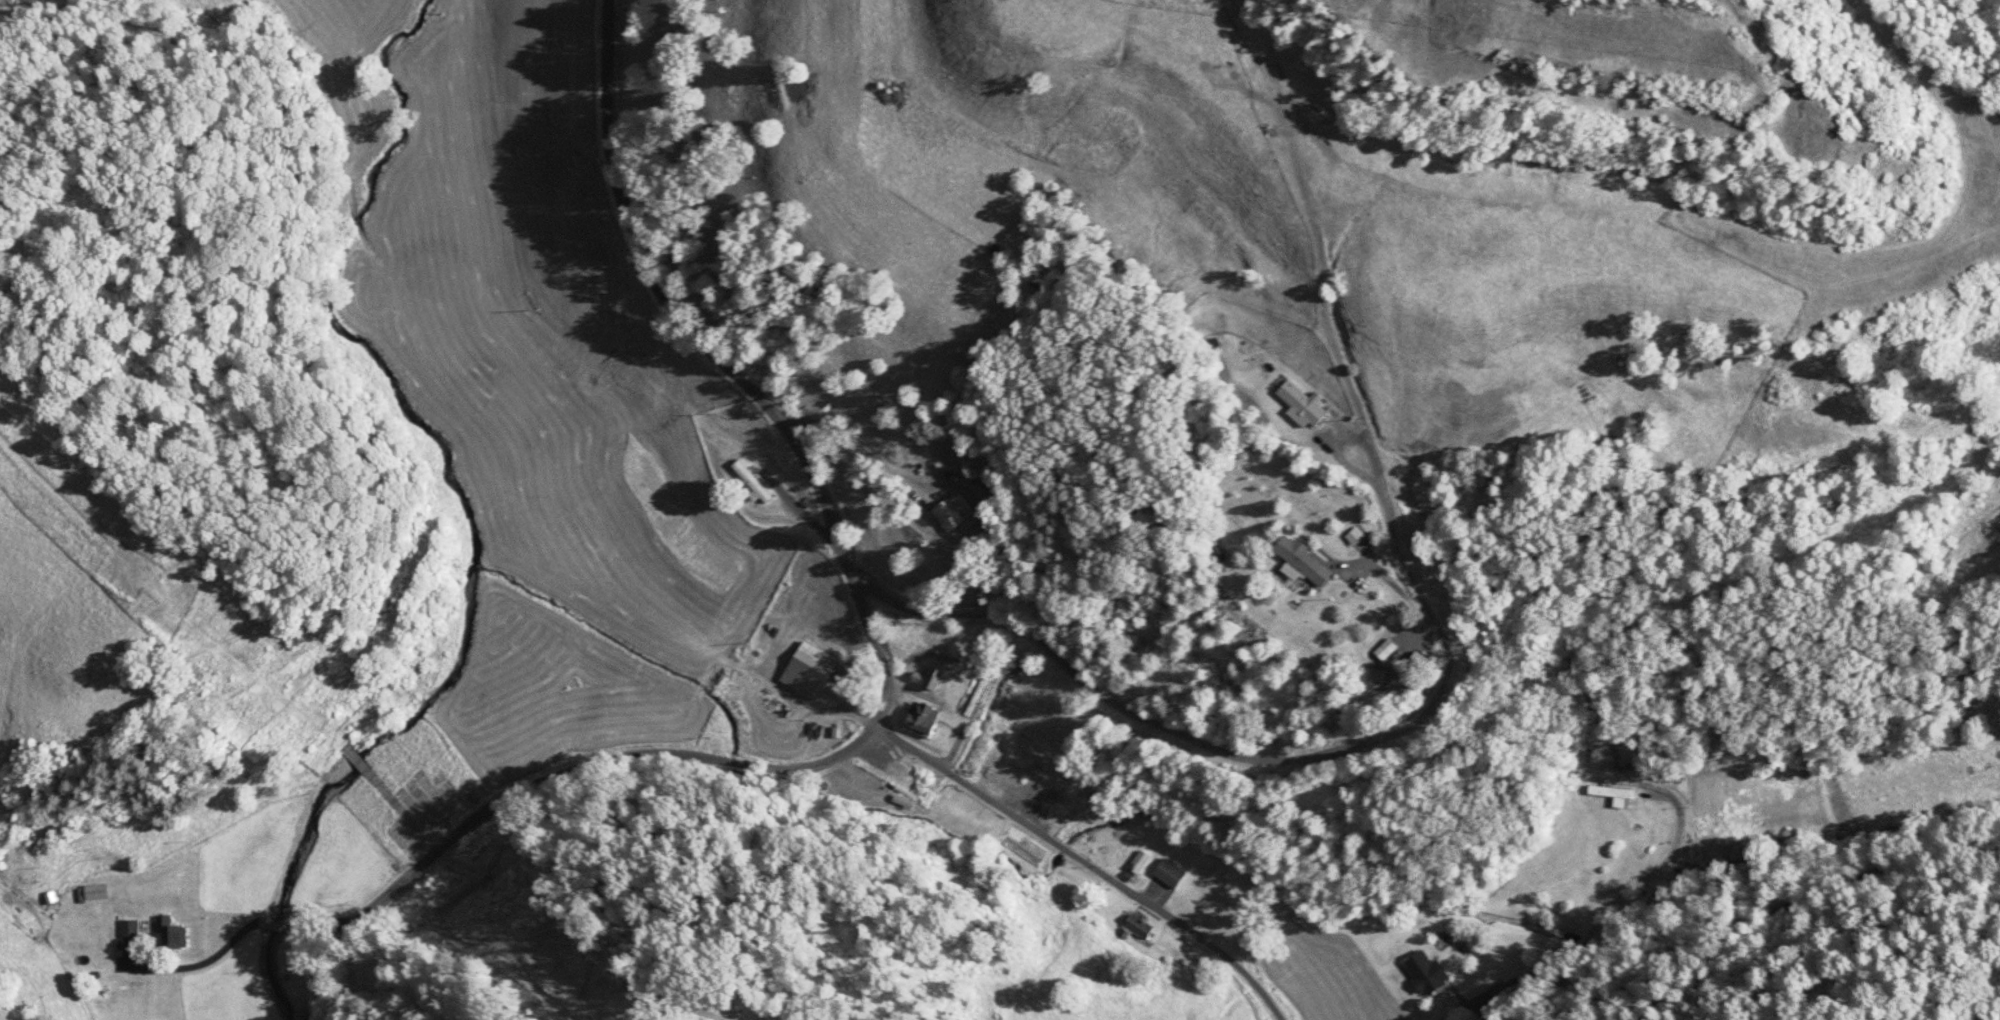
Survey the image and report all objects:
road: (727, 370)
building: (1301, 405)
building: (755, 485)
building: (955, 513)
building: (1302, 562)
building: (1386, 650)
building: (810, 672)
building: (937, 678)
building: (925, 717)
road: (617, 757)
building: (1613, 795)
road: (1083, 863)
building: (1170, 874)
building: (96, 892)
road: (1762, 903)
building: (130, 929)
road: (332, 930)
building: (170, 934)
building: (1427, 973)

